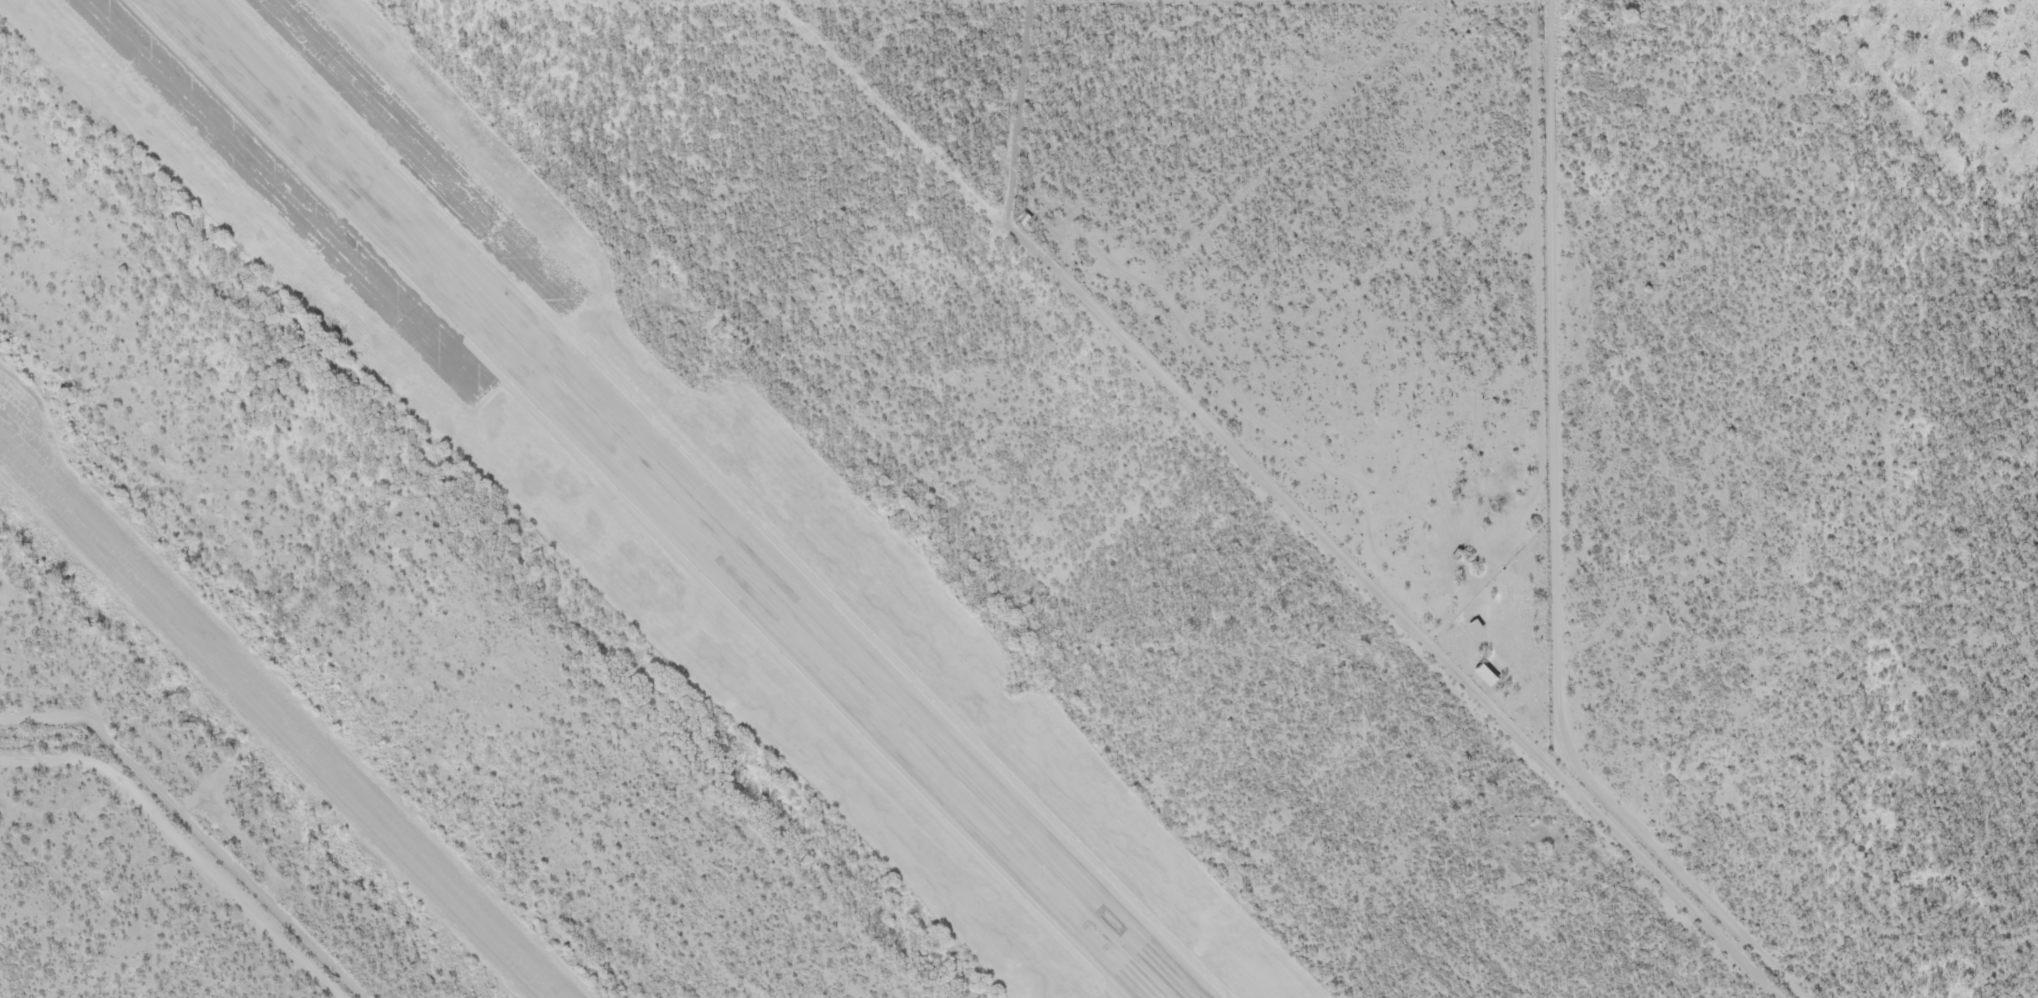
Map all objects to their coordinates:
road: (1896, 144)
airport runway: (674, 499)
airport: (716, 534)
building: (1477, 627)
building: (1487, 675)
airport taxiway: (276, 718)
road: (134, 924)

